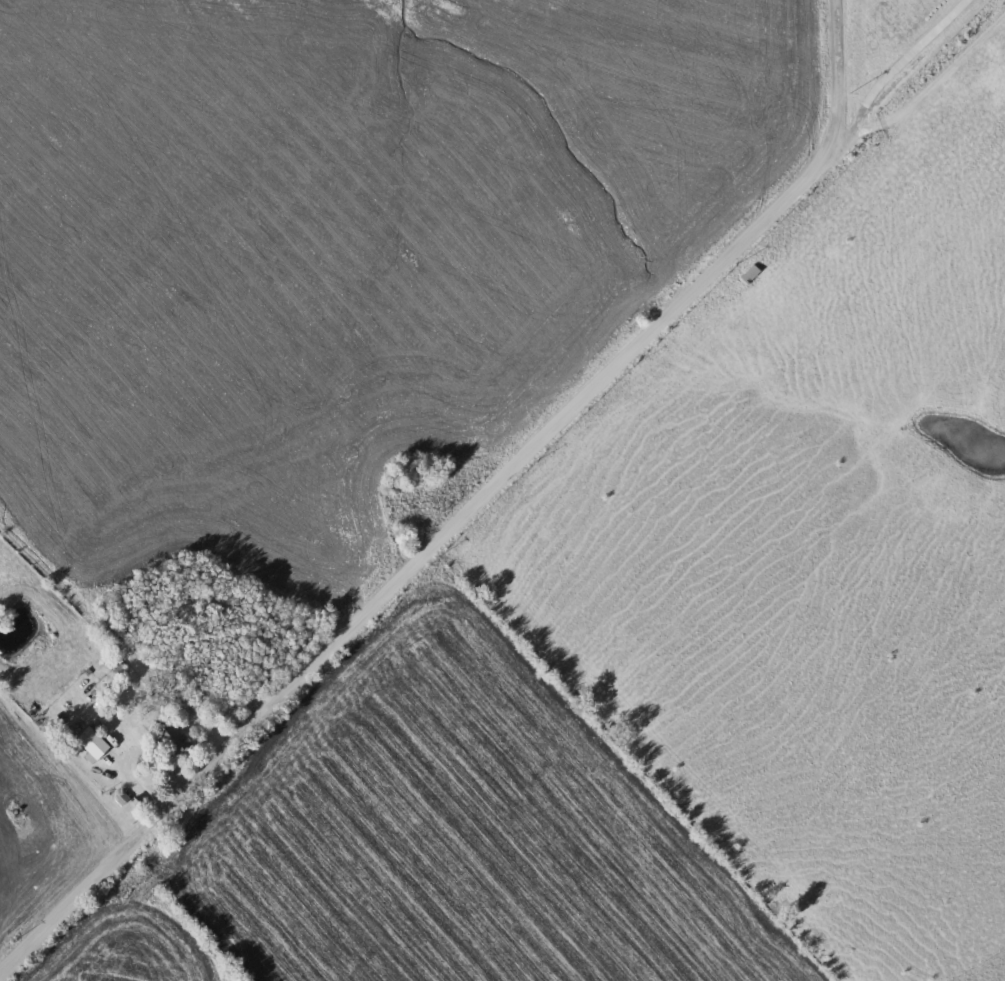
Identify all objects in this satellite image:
road: (907, 57)
road: (841, 75)
building: (745, 273)
road: (496, 483)
road: (114, 630)
building: (177, 742)
building: (94, 743)

